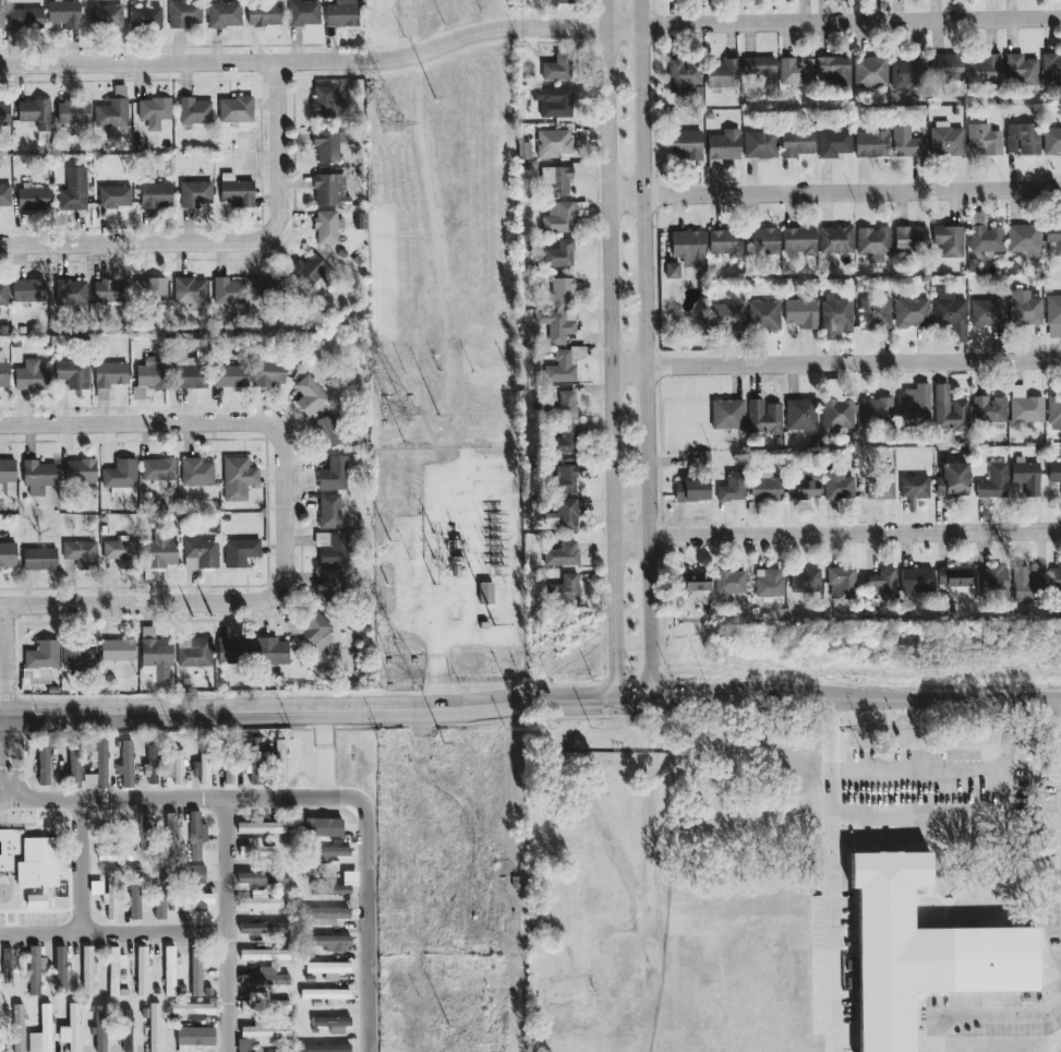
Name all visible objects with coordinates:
building: (557, 2)
building: (64, 13)
building: (185, 14)
building: (224, 14)
building: (304, 14)
building: (342, 14)
building: (105, 15)
building: (264, 15)
building: (145, 17)
building: (1, 19)
building: (26, 20)
road: (528, 27)
building: (1051, 65)
building: (557, 69)
building: (1021, 69)
building: (948, 70)
building: (984, 70)
building: (795, 71)
building: (834, 71)
building: (762, 72)
building: (870, 73)
building: (723, 74)
building: (684, 76)
building: (907, 76)
building: (553, 101)
building: (326, 103)
building: (154, 109)
building: (113, 110)
building: (237, 110)
building: (194, 111)
building: (74, 112)
building: (4, 113)
building: (35, 113)
power tower: (393, 127)
building: (984, 140)
building: (1023, 140)
building: (947, 141)
building: (1051, 142)
building: (554, 143)
building: (797, 143)
building: (906, 143)
building: (834, 144)
building: (871, 144)
building: (685, 145)
building: (760, 145)
building: (327, 147)
building: (722, 148)
building: (523, 151)
building: (556, 180)
building: (328, 190)
building: (74, 191)
road: (833, 191)
building: (236, 192)
building: (195, 194)
building: (5, 195)
building: (156, 195)
building: (114, 198)
building: (34, 200)
building: (558, 218)
building: (327, 228)
building: (985, 236)
building: (1053, 237)
building: (911, 239)
building: (836, 240)
building: (1025, 240)
road: (221, 241)
building: (762, 241)
building: (799, 241)
building: (948, 242)
building: (725, 243)
building: (873, 243)
building: (688, 248)
building: (559, 254)
building: (672, 271)
building: (313, 273)
building: (150, 289)
building: (266, 289)
building: (28, 291)
building: (110, 291)
building: (190, 291)
building: (229, 291)
building: (3, 292)
building: (71, 292)
building: (563, 292)
building: (1024, 309)
building: (801, 313)
building: (876, 313)
building: (912, 313)
building: (988, 313)
building: (951, 314)
building: (763, 315)
building: (1053, 315)
building: (836, 316)
building: (726, 318)
building: (556, 325)
road: (608, 349)
road: (647, 350)
road: (834, 363)
building: (564, 366)
building: (73, 374)
building: (269, 374)
building: (32, 376)
building: (231, 376)
building: (148, 378)
building: (109, 379)
building: (311, 397)
building: (564, 404)
building: (1025, 406)
building: (949, 410)
building: (877, 411)
building: (913, 411)
building: (989, 411)
power tower: (397, 413)
building: (1054, 413)
building: (727, 415)
building: (801, 415)
building: (839, 415)
building: (763, 418)
road: (189, 421)
building: (327, 433)
building: (567, 440)
building: (158, 470)
building: (81, 471)
building: (7, 473)
building: (196, 473)
building: (334, 475)
building: (1054, 475)
building: (38, 477)
building: (1026, 477)
building: (121, 478)
building: (238, 479)
building: (566, 480)
building: (953, 480)
building: (993, 482)
building: (882, 485)
building: (804, 487)
building: (837, 487)
building: (915, 487)
building: (732, 488)
building: (765, 490)
building: (691, 491)
building: (329, 512)
building: (567, 515)
road: (836, 536)
building: (333, 550)
building: (162, 552)
building: (240, 552)
building: (120, 553)
building: (81, 554)
building: (201, 554)
building: (563, 554)
building: (8, 557)
building: (40, 560)
power substation: (449, 565)
building: (953, 577)
building: (916, 579)
building: (806, 581)
building: (1056, 581)
building: (692, 582)
building: (991, 582)
building: (731, 583)
building: (769, 584)
building: (841, 584)
building: (882, 584)
building: (1026, 586)
building: (334, 588)
building: (565, 588)
building: (485, 594)
road: (174, 602)
building: (315, 633)
building: (117, 650)
building: (233, 650)
building: (272, 651)
building: (194, 653)
building: (155, 657)
building: (80, 658)
road: (2, 660)
building: (39, 660)
power tower: (400, 679)
road: (856, 697)
traffic signals: (614, 700)
road: (634, 700)
traffic signals: (653, 701)
road: (306, 713)
road: (4, 758)
building: (256, 762)
building: (280, 762)
road: (1011, 762)
building: (44, 764)
building: (125, 764)
building: (203, 765)
building: (150, 766)
building: (97, 767)
building: (177, 767)
building: (74, 768)
building: (228, 770)
road: (923, 779)
road: (181, 799)
road: (947, 826)
building: (262, 828)
building: (323, 830)
building: (146, 833)
building: (170, 833)
building: (197, 834)
building: (257, 850)
building: (333, 851)
building: (38, 863)
road: (83, 868)
road: (833, 874)
building: (197, 876)
building: (262, 878)
building: (337, 886)
building: (96, 888)
building: (134, 895)
building: (111, 896)
building: (159, 896)
building: (36, 900)
building: (202, 901)
building: (261, 901)
building: (326, 916)
road: (230, 924)
road: (370, 924)
building: (264, 928)
road: (116, 933)
building: (330, 943)
building: (921, 952)
building: (264, 955)
building: (9, 966)
building: (35, 969)
building: (197, 969)
building: (328, 969)
building: (61, 970)
building: (170, 970)
building: (87, 971)
building: (142, 971)
building: (116, 972)
building: (265, 978)
building: (326, 996)
building: (264, 1004)
building: (194, 1011)
building: (333, 1024)
road: (992, 1027)
building: (19, 1028)
building: (100, 1028)
building: (71, 1029)
building: (128, 1030)
building: (152, 1031)
building: (267, 1031)
building: (43, 1032)
building: (196, 1037)
building: (326, 1048)

